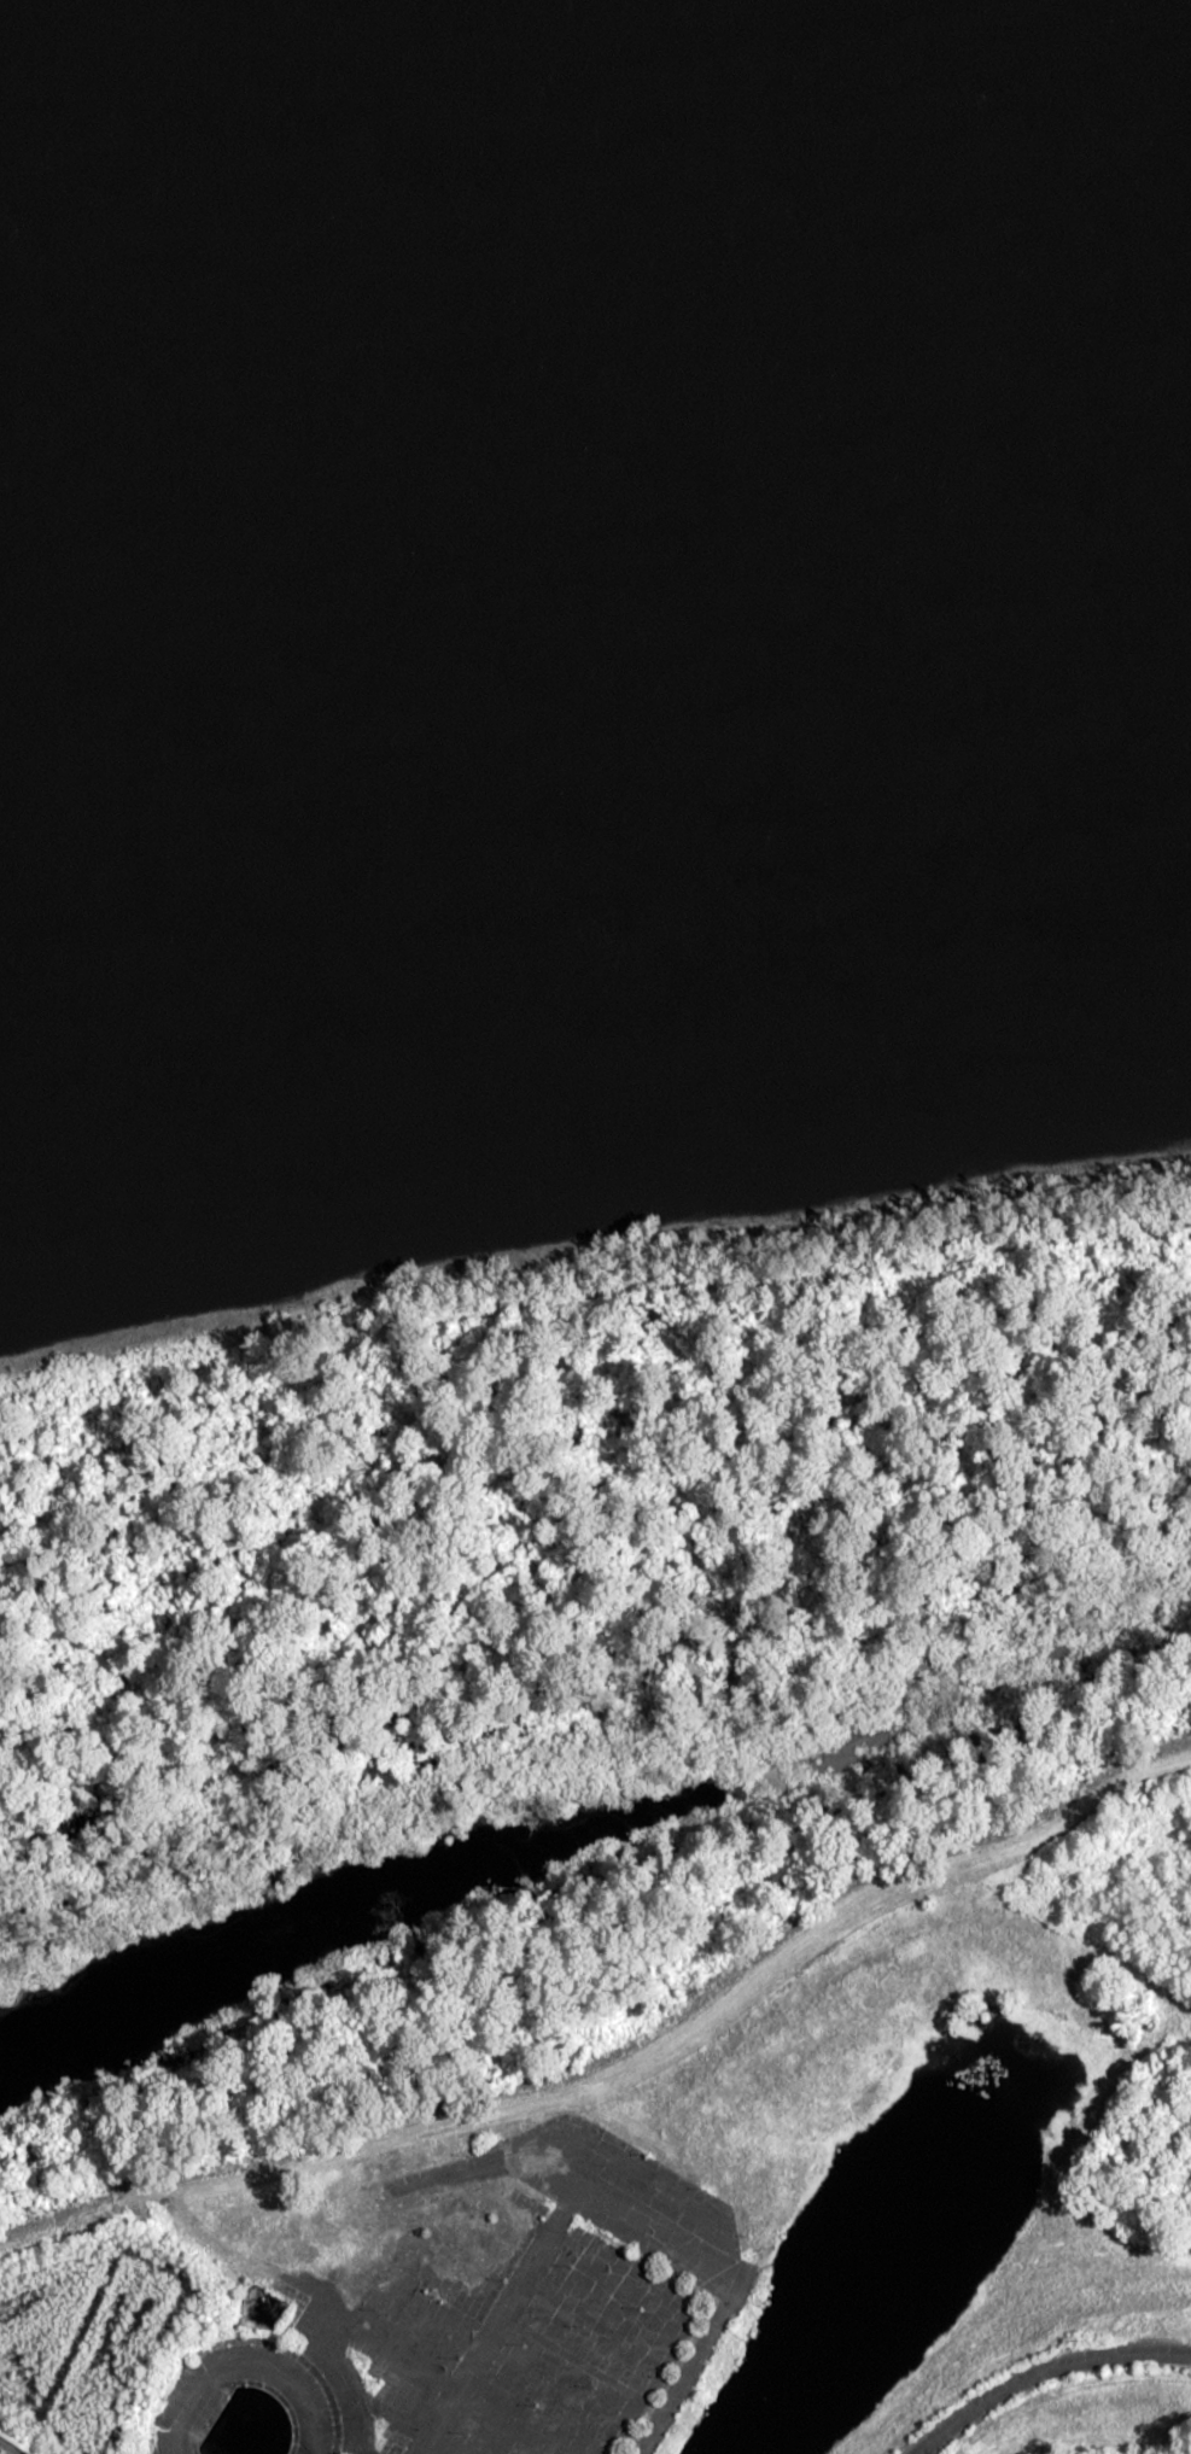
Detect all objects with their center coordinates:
river: (547, 118)
road: (244, 2359)
road: (690, 2372)
road: (1044, 2374)
building: (17, 2443)

